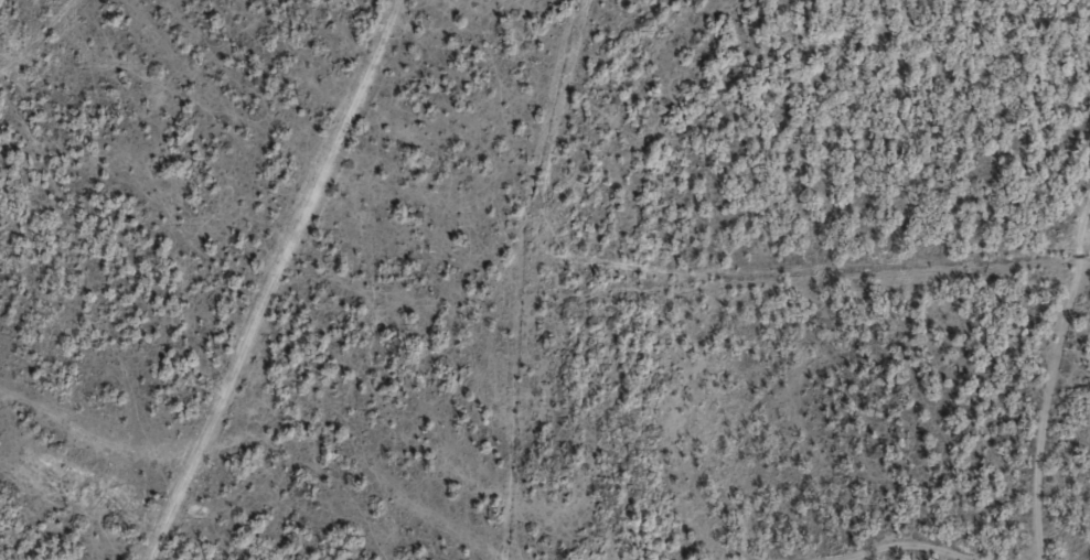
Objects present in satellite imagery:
road: (299, 281)
road: (1071, 431)
road: (901, 541)

